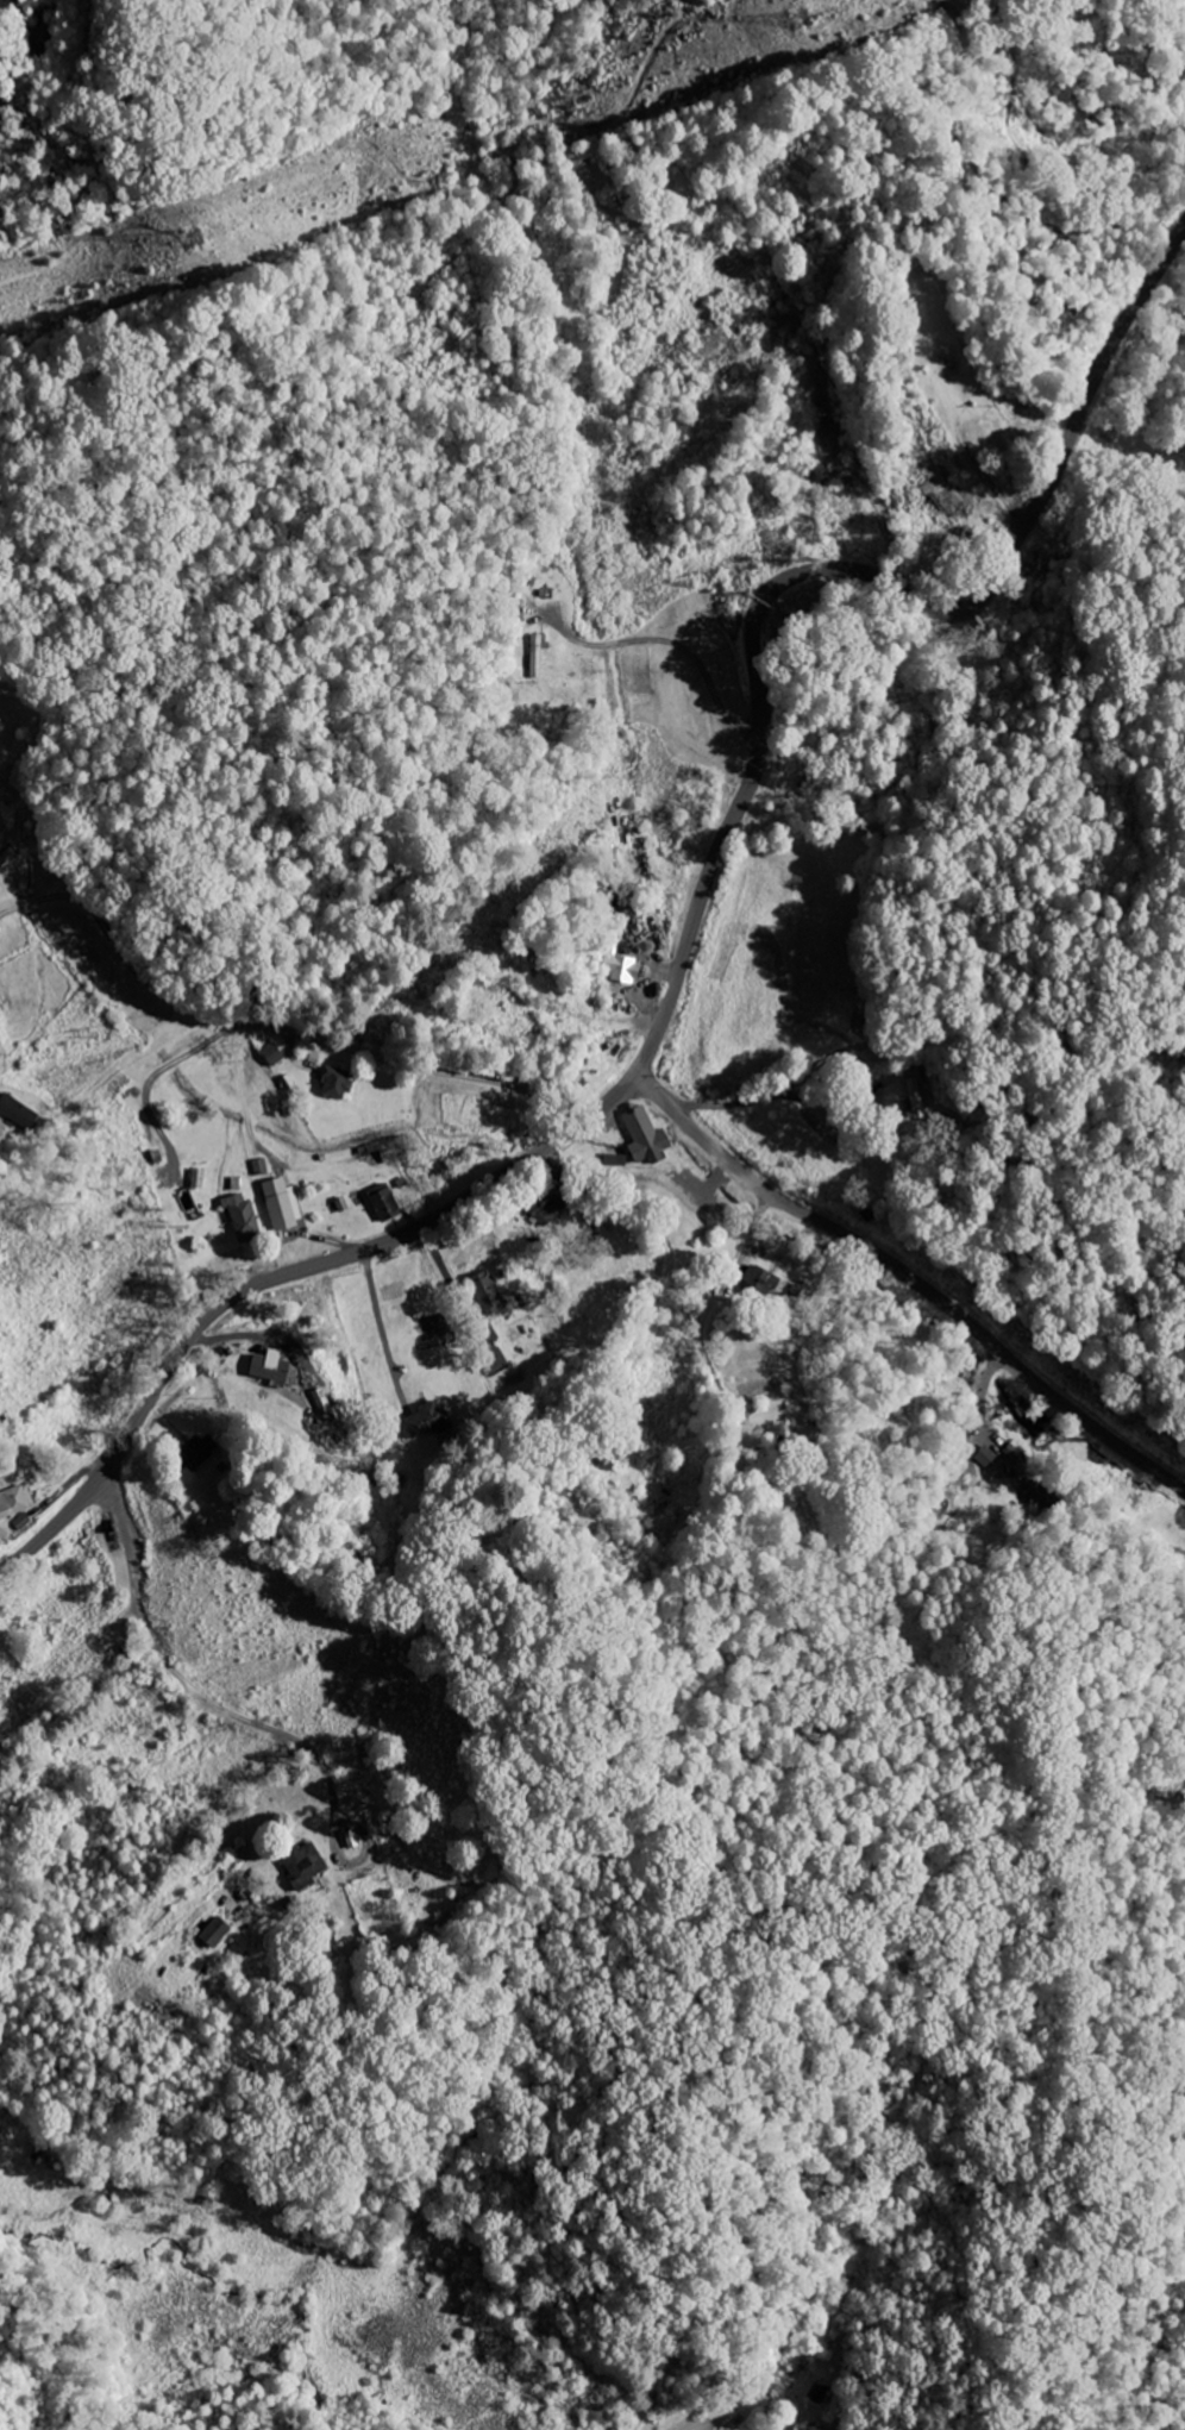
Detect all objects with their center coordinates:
power tower: (795, 18)
road: (958, 39)
road: (1026, 223)
power tower: (213, 238)
building: (932, 369)
building: (941, 497)
building: (540, 653)
road: (43, 898)
road: (695, 914)
road: (575, 1016)
road: (239, 1023)
building: (340, 1081)
building: (913, 1096)
building: (641, 1133)
building: (438, 1172)
building: (277, 1202)
building: (381, 1202)
building: (240, 1215)
road: (910, 1278)
building: (479, 1292)
road: (383, 1330)
building: (265, 1366)
building: (984, 1454)
building: (20, 1502)
building: (87, 1662)
road: (189, 1690)
road: (75, 1701)
building: (208, 1931)

